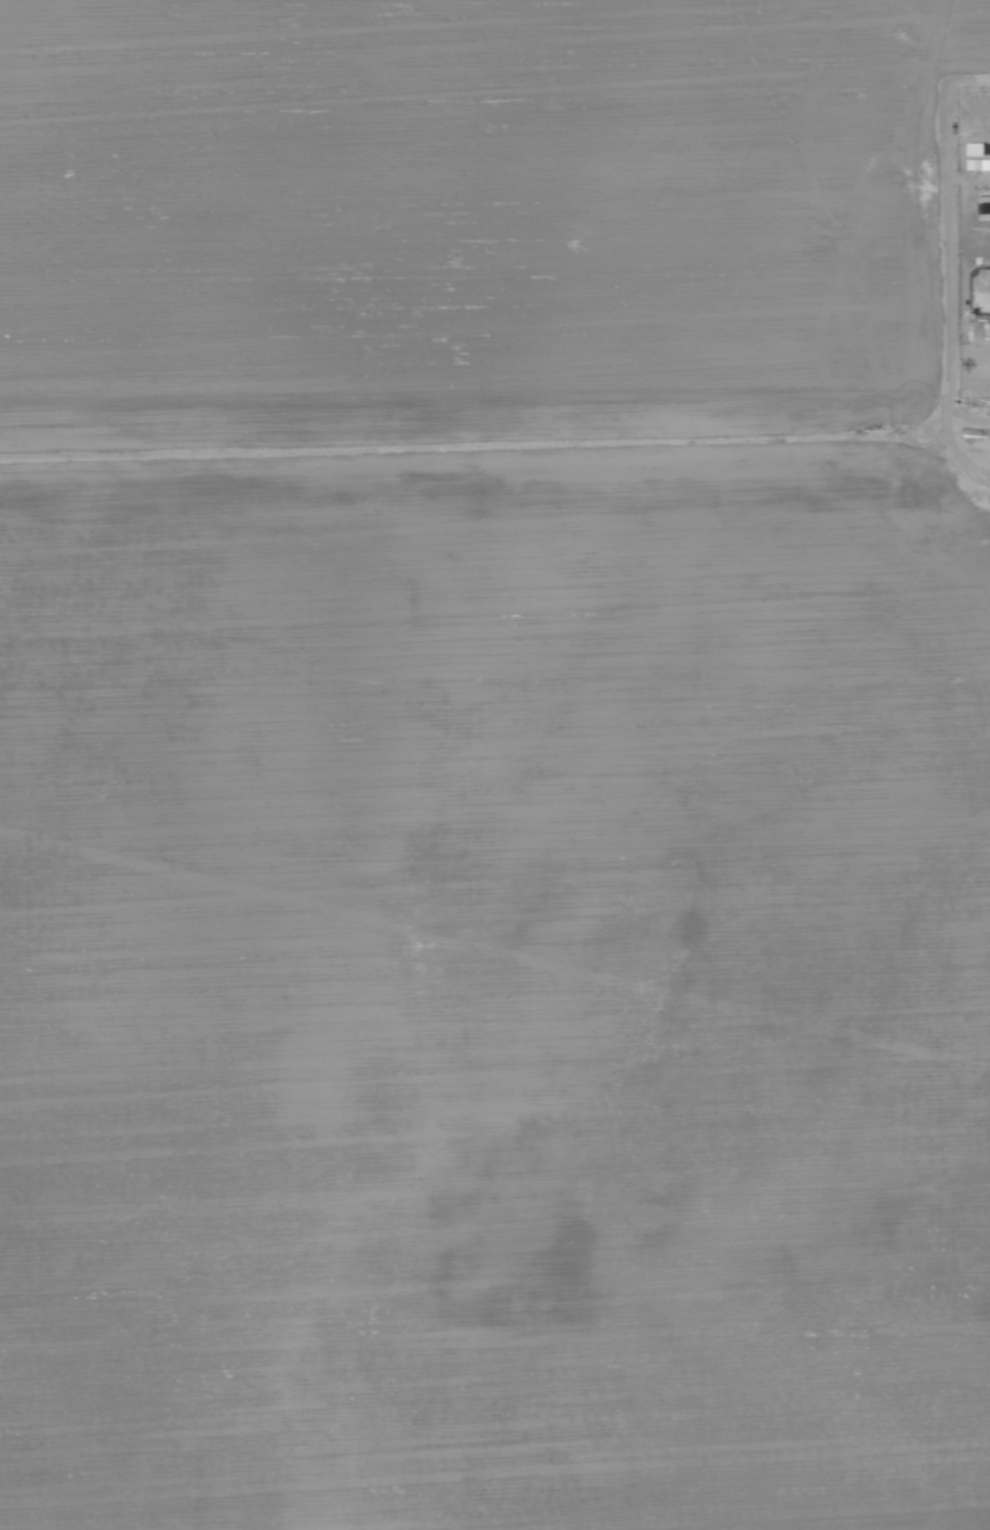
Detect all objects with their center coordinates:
road: (987, 253)
road: (495, 490)
road: (616, 1378)

